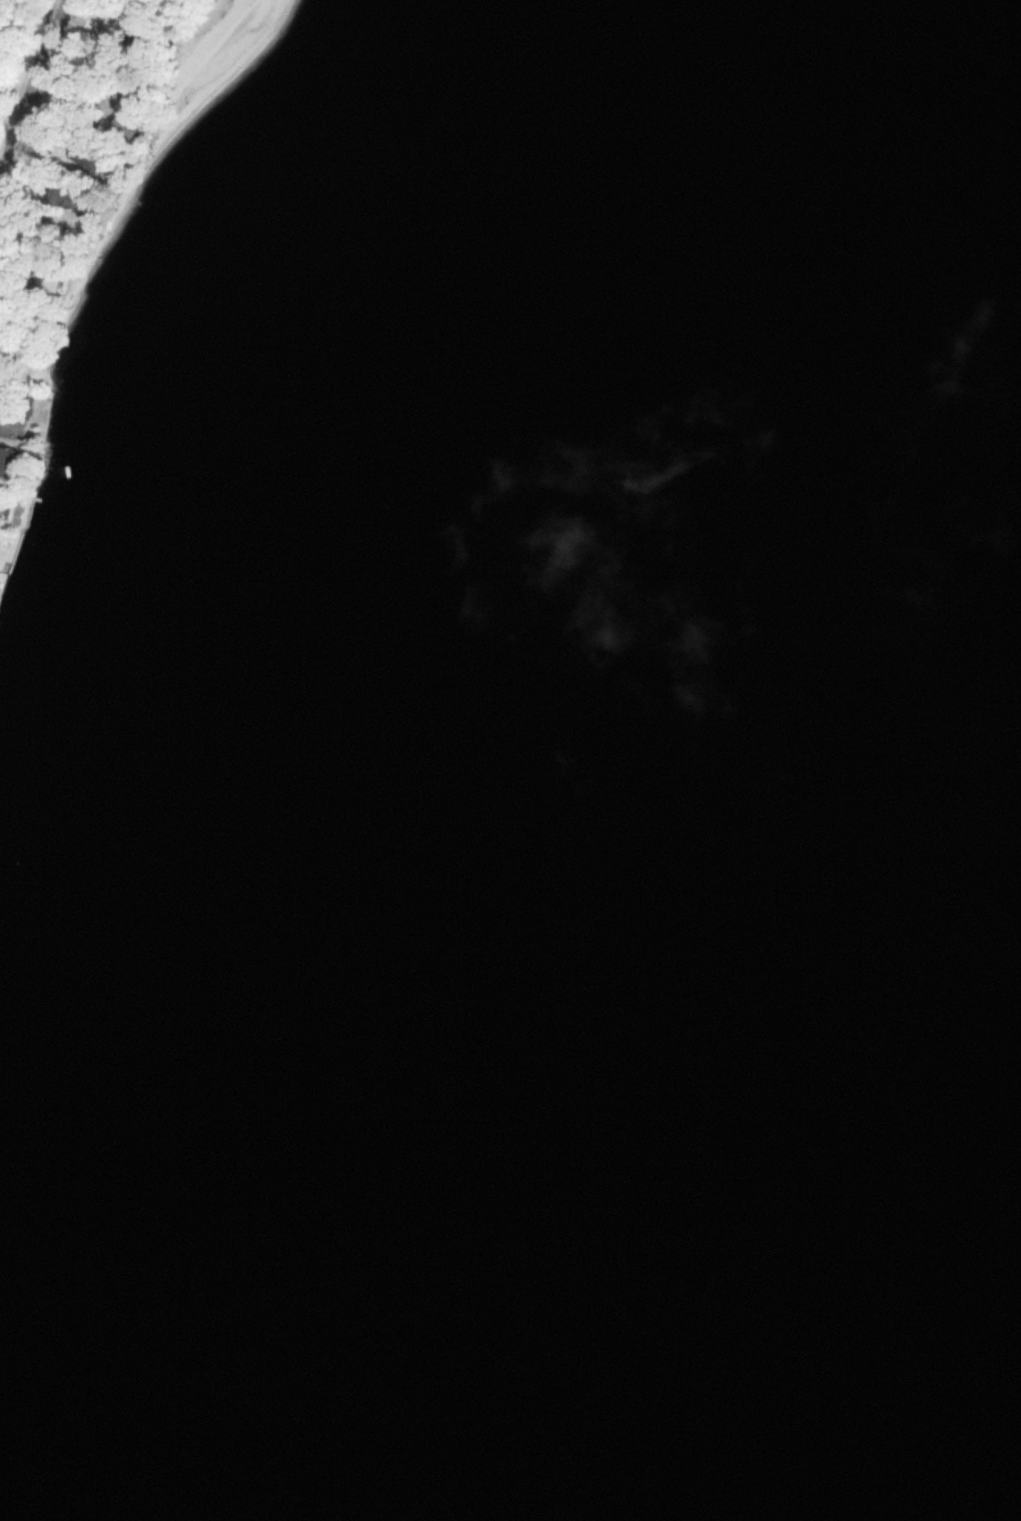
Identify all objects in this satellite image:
building: (131, 30)
road: (31, 86)
building: (127, 108)
building: (82, 156)
building: (61, 196)
building: (43, 278)
building: (8, 421)
building: (6, 461)
building: (0, 499)

